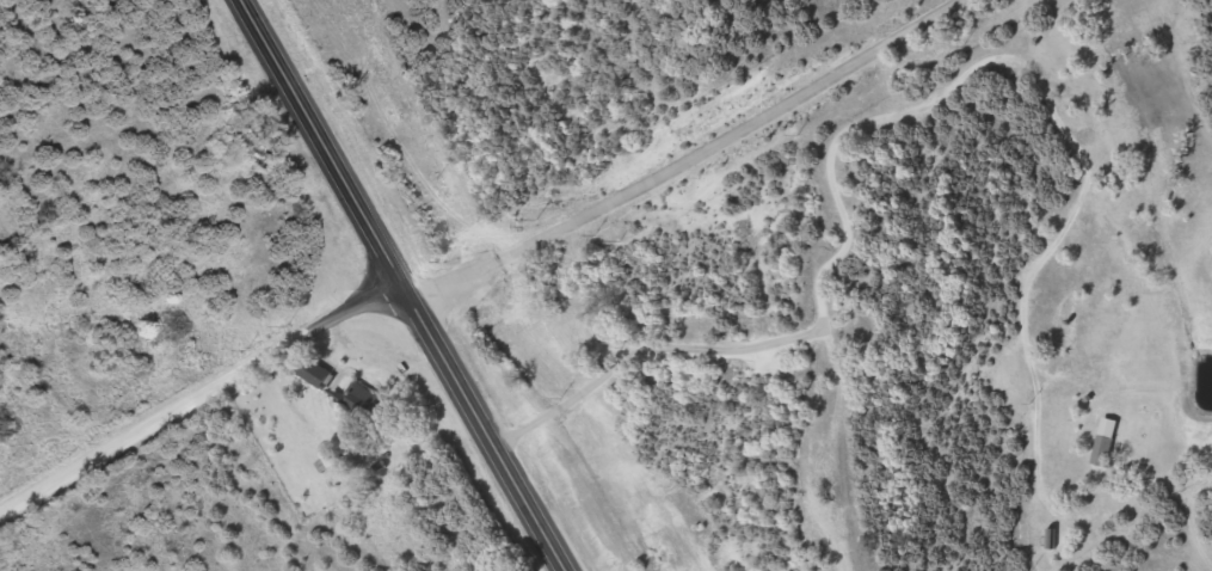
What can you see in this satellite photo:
road: (684, 153)
road: (410, 285)
building: (315, 370)
building: (355, 394)
road: (203, 400)
building: (1102, 448)

